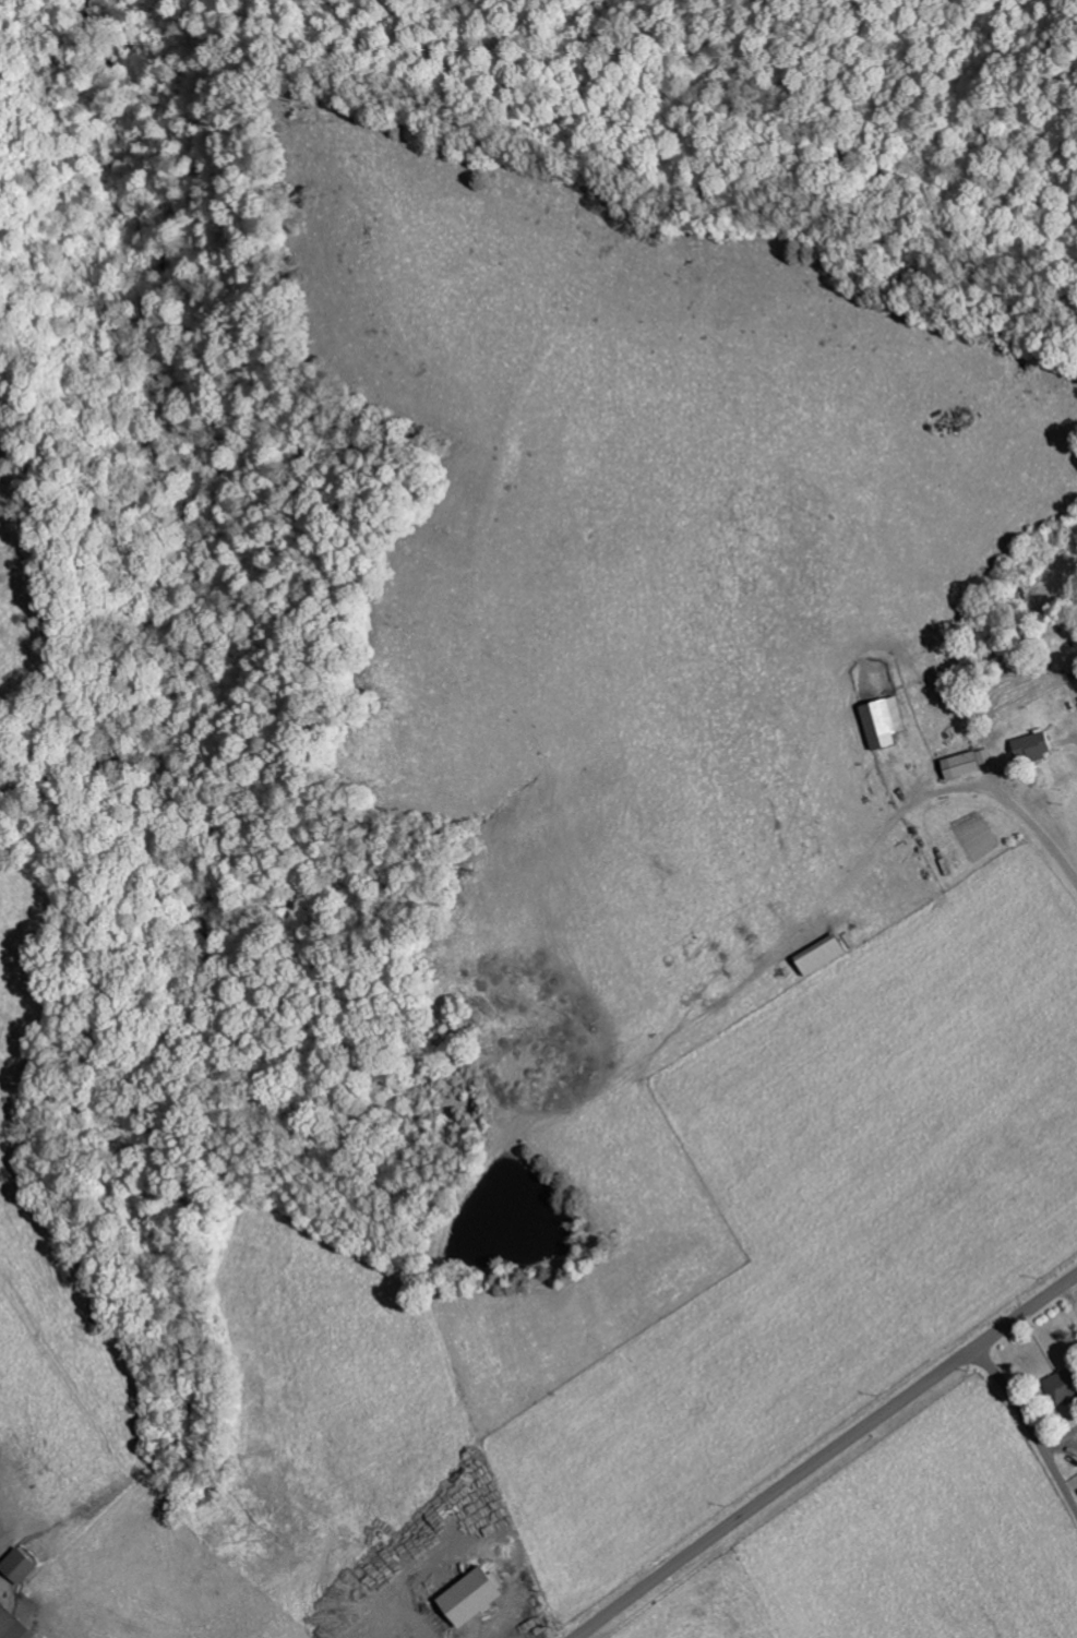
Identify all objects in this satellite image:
building: (878, 721)
building: (1031, 746)
road: (1057, 873)
road: (1030, 1427)
road: (825, 1455)
building: (14, 1565)
building: (464, 1595)
building: (9, 1626)

